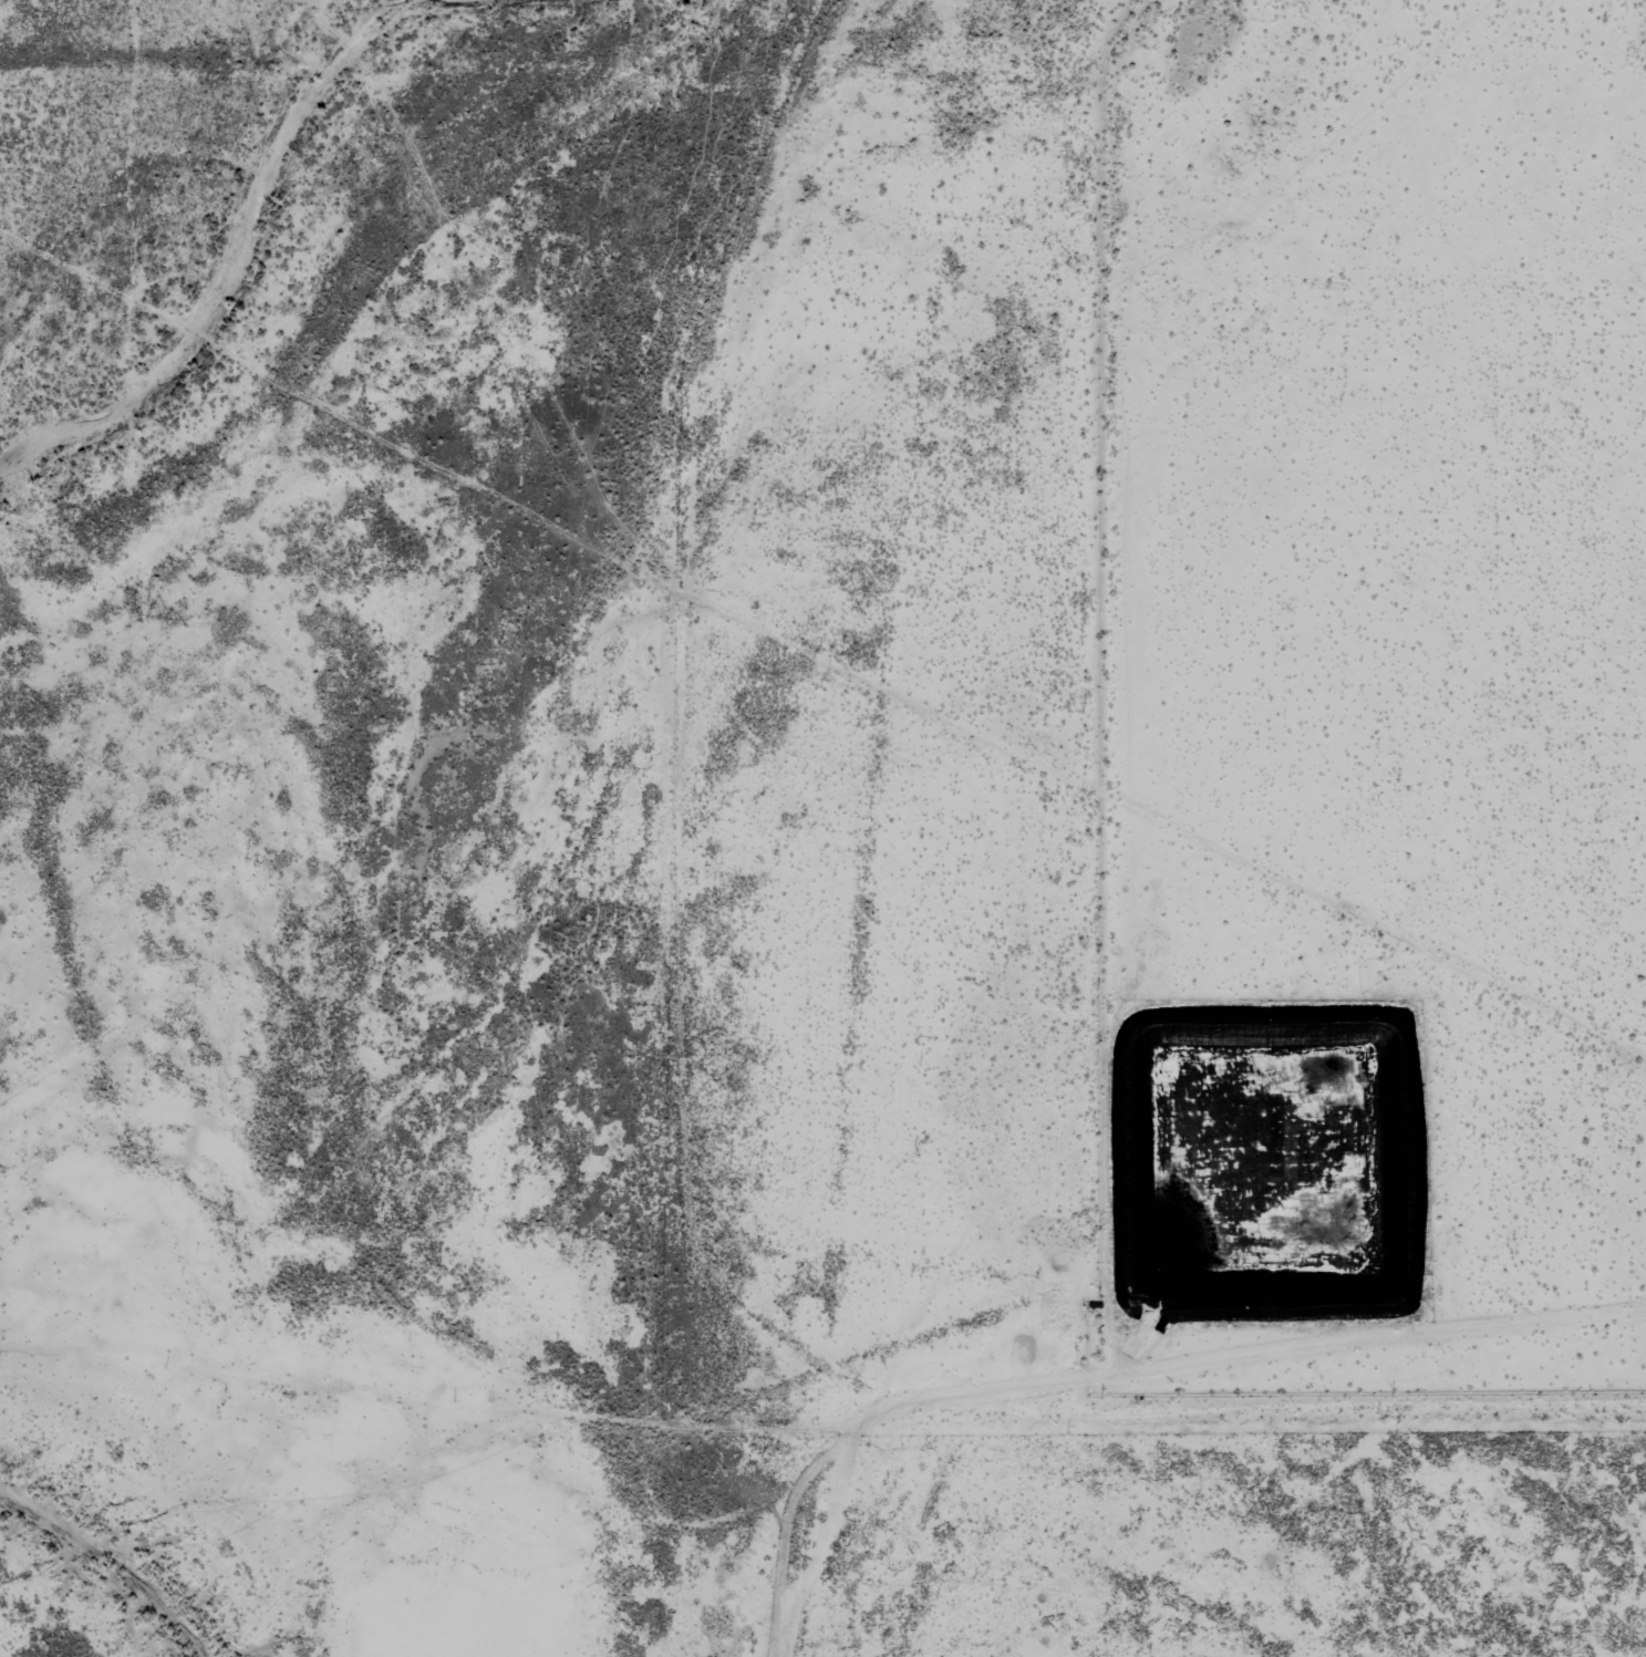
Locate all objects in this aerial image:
road: (479, 1522)

